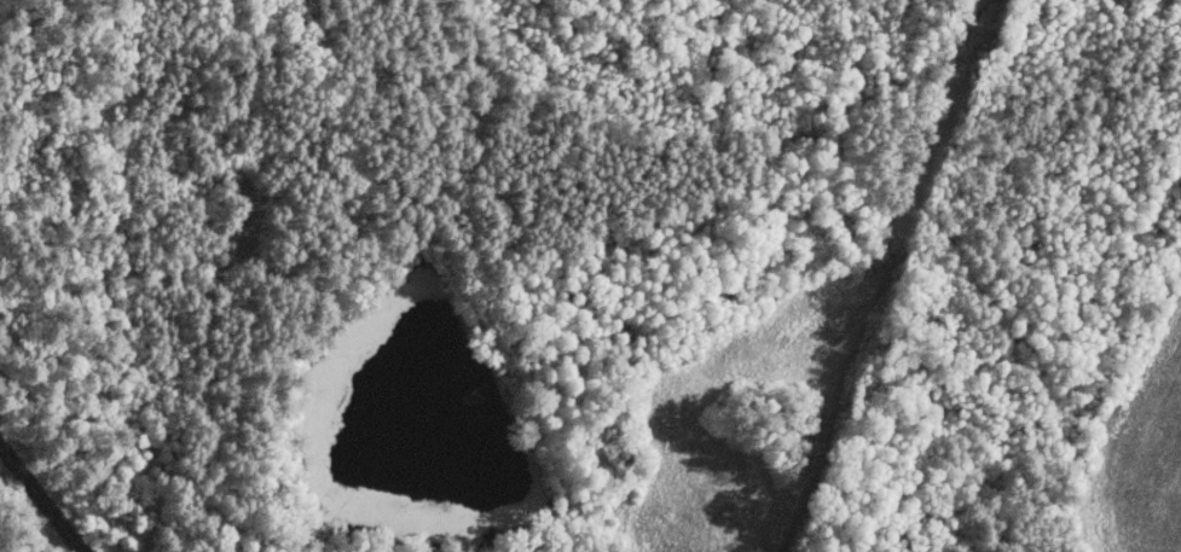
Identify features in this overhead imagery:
road: (39, 504)

